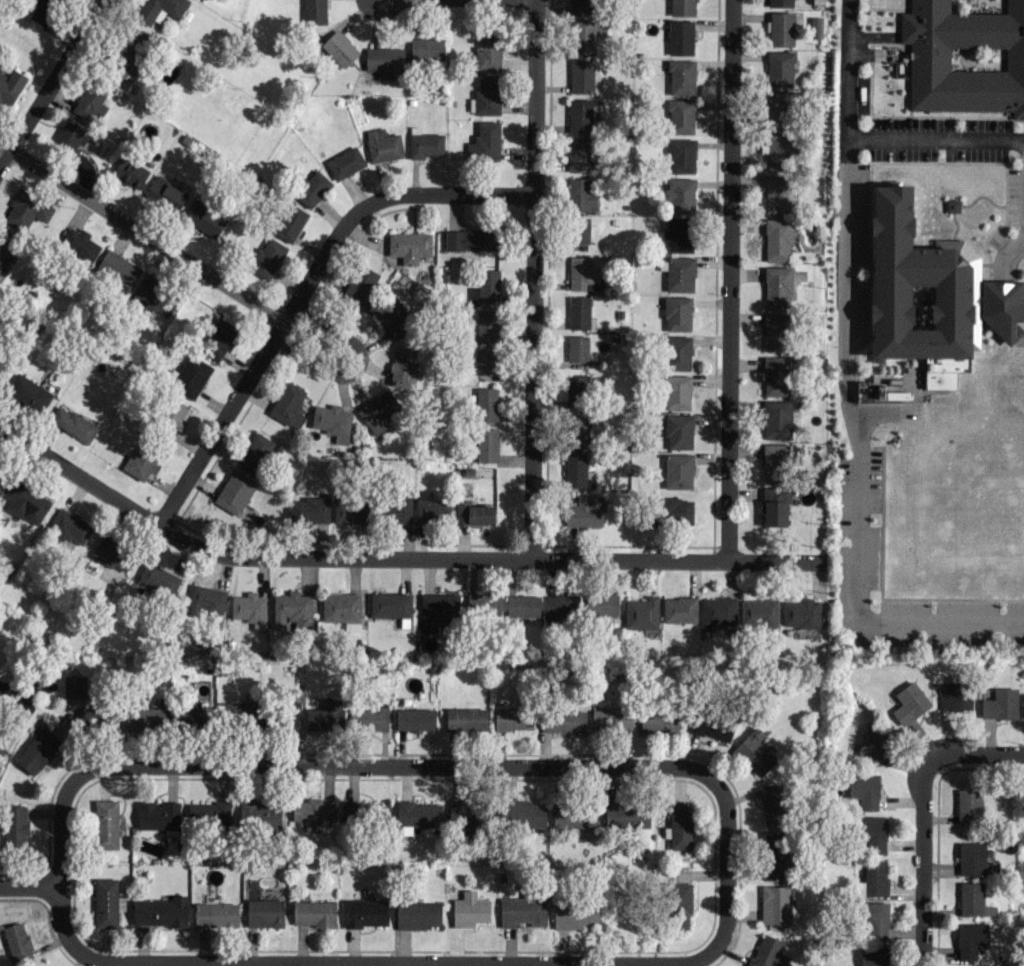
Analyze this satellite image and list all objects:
building: (780, 3)
building: (582, 6)
building: (682, 7)
building: (159, 9)
building: (42, 10)
building: (314, 11)
building: (815, 27)
building: (780, 28)
building: (584, 36)
building: (680, 37)
building: (339, 48)
building: (426, 48)
building: (129, 52)
building: (488, 52)
building: (965, 55)
building: (384, 61)
building: (780, 68)
building: (581, 75)
building: (681, 77)
road: (50, 80)
building: (10, 86)
building: (486, 95)
building: (90, 101)
building: (778, 106)
building: (579, 115)
building: (681, 116)
building: (71, 134)
road: (936, 135)
building: (484, 141)
building: (425, 144)
building: (383, 145)
building: (779, 151)
building: (578, 155)
building: (680, 155)
building: (346, 162)
building: (130, 172)
building: (312, 188)
building: (164, 193)
building: (679, 193)
building: (581, 194)
building: (777, 194)
road: (375, 200)
building: (952, 205)
building: (26, 209)
building: (204, 217)
building: (290, 222)
building: (579, 230)
road: (140, 232)
building: (678, 233)
building: (472, 239)
building: (778, 239)
building: (79, 245)
building: (409, 246)
building: (4, 247)
building: (266, 258)
building: (118, 268)
building: (678, 273)
building: (583, 274)
road: (530, 278)
road: (729, 280)
road: (1002, 285)
building: (360, 286)
building: (486, 286)
building: (916, 286)
building: (776, 287)
building: (155, 296)
building: (1003, 307)
building: (578, 311)
building: (677, 313)
building: (392, 318)
building: (486, 325)
building: (776, 332)
building: (219, 337)
building: (577, 348)
building: (678, 352)
building: (485, 362)
road: (356, 367)
building: (403, 367)
building: (775, 375)
building: (189, 376)
building: (577, 387)
building: (884, 388)
road: (848, 390)
building: (676, 391)
building: (27, 392)
building: (288, 404)
building: (486, 404)
building: (377, 411)
building: (173, 413)
building: (776, 419)
building: (332, 421)
building: (73, 423)
road: (218, 424)
building: (575, 430)
building: (678, 431)
building: (487, 445)
building: (255, 453)
building: (141, 461)
building: (774, 462)
building: (0, 466)
building: (575, 469)
building: (678, 470)
building: (234, 491)
building: (26, 502)
building: (775, 506)
building: (431, 507)
building: (310, 509)
building: (395, 509)
building: (350, 511)
building: (585, 511)
building: (673, 511)
building: (473, 512)
building: (69, 527)
building: (113, 553)
road: (393, 557)
building: (158, 579)
building: (206, 600)
building: (562, 604)
building: (601, 604)
building: (483, 605)
building: (523, 605)
building: (249, 608)
building: (292, 609)
building: (342, 609)
building: (679, 609)
building: (437, 610)
building: (718, 610)
building: (641, 612)
building: (759, 612)
building: (801, 613)
building: (74, 685)
building: (954, 695)
building: (909, 702)
building: (1000, 704)
building: (1023, 705)
building: (236, 711)
building: (98, 715)
building: (326, 715)
building: (146, 716)
building: (194, 716)
building: (290, 716)
building: (369, 718)
building: (465, 718)
building: (513, 718)
building: (415, 719)
building: (563, 720)
building: (611, 720)
building: (659, 720)
building: (713, 725)
building: (872, 739)
building: (37, 750)
building: (754, 752)
road: (918, 752)
road: (975, 753)
road: (333, 767)
building: (864, 789)
building: (772, 803)
building: (969, 805)
building: (313, 810)
building: (364, 812)
building: (208, 813)
building: (464, 813)
building: (523, 813)
building: (259, 814)
building: (417, 814)
building: (627, 814)
building: (157, 815)
building: (574, 815)
building: (106, 824)
building: (679, 825)
building: (15, 826)
building: (874, 834)
building: (774, 855)
building: (971, 858)
road: (922, 864)
building: (873, 879)
building: (973, 900)
building: (107, 902)
building: (678, 904)
building: (775, 904)
building: (469, 909)
building: (160, 911)
building: (522, 911)
building: (264, 912)
building: (365, 912)
building: (314, 913)
building: (216, 914)
building: (417, 914)
building: (574, 915)
building: (876, 918)
building: (970, 939)
building: (17, 942)
building: (767, 952)
building: (873, 957)
road: (420, 963)
road: (408, 965)

